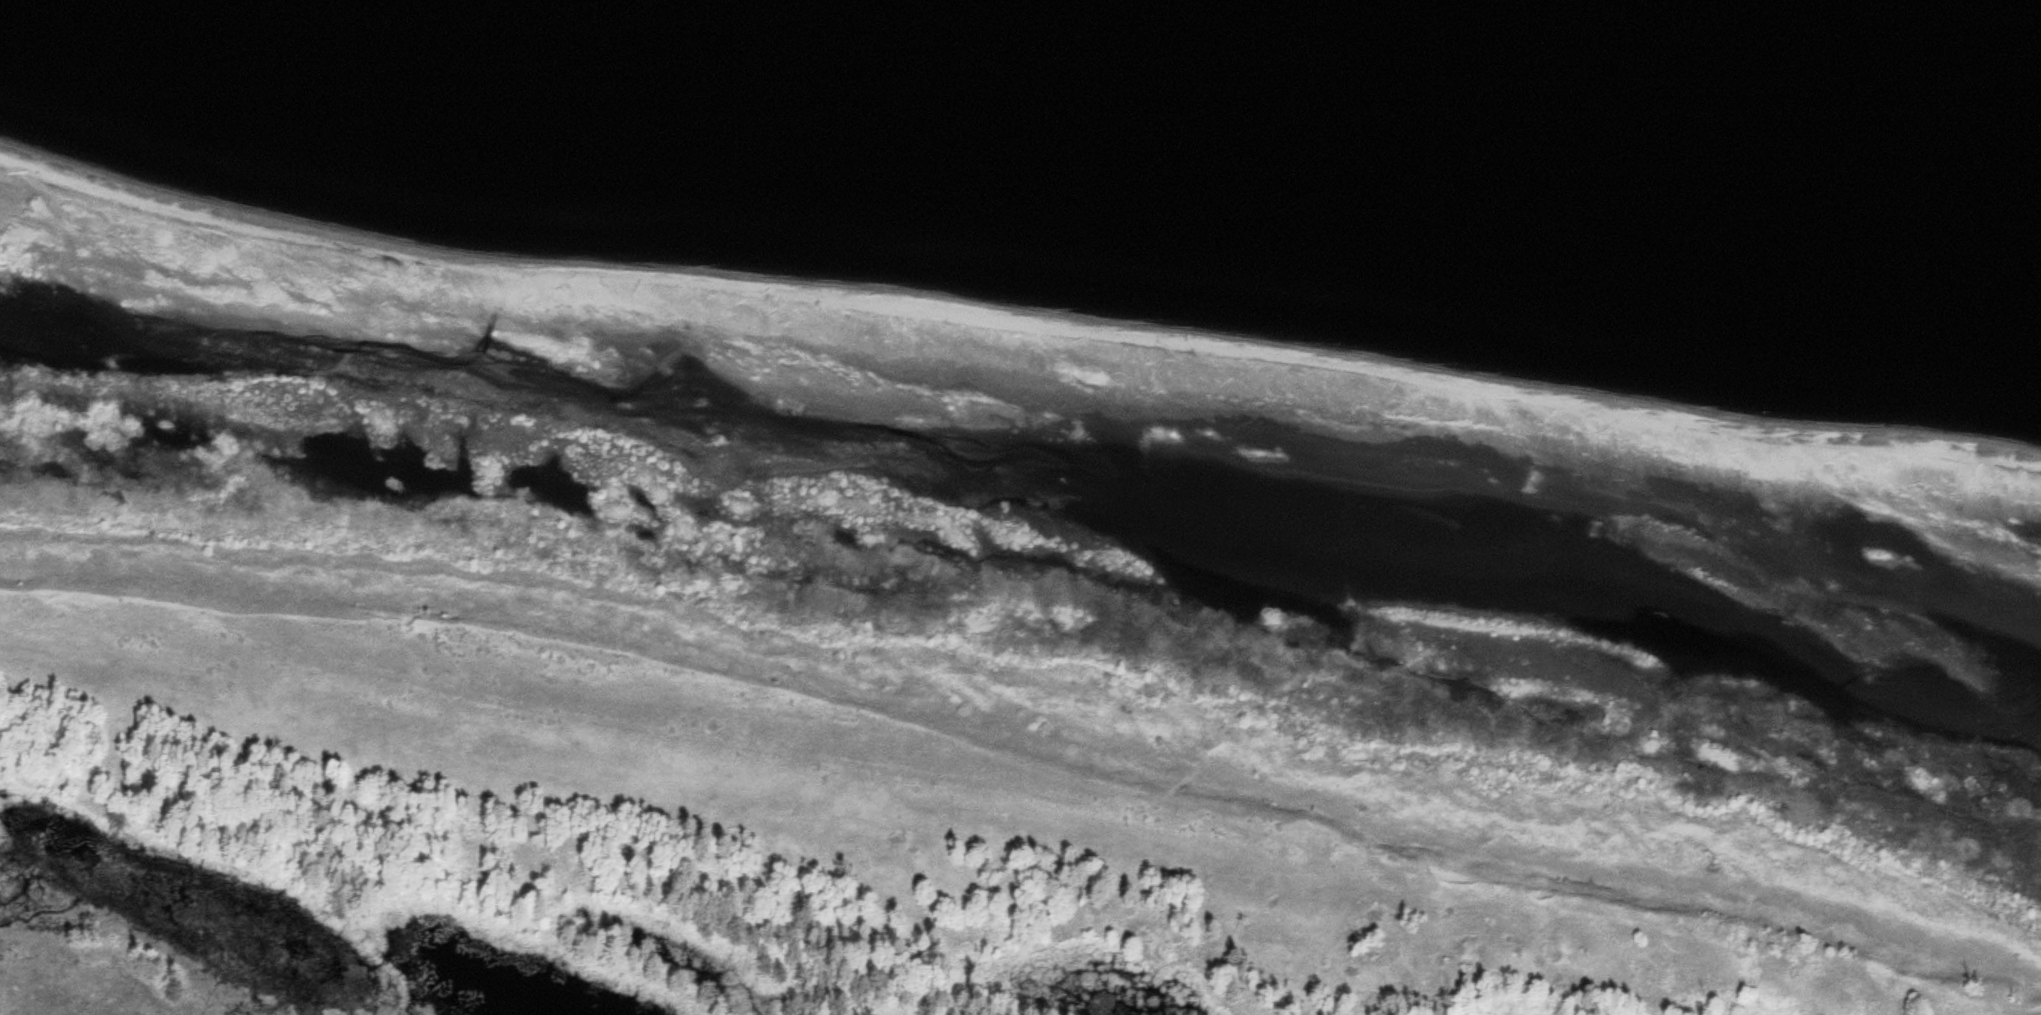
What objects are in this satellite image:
road: (476, 630)

